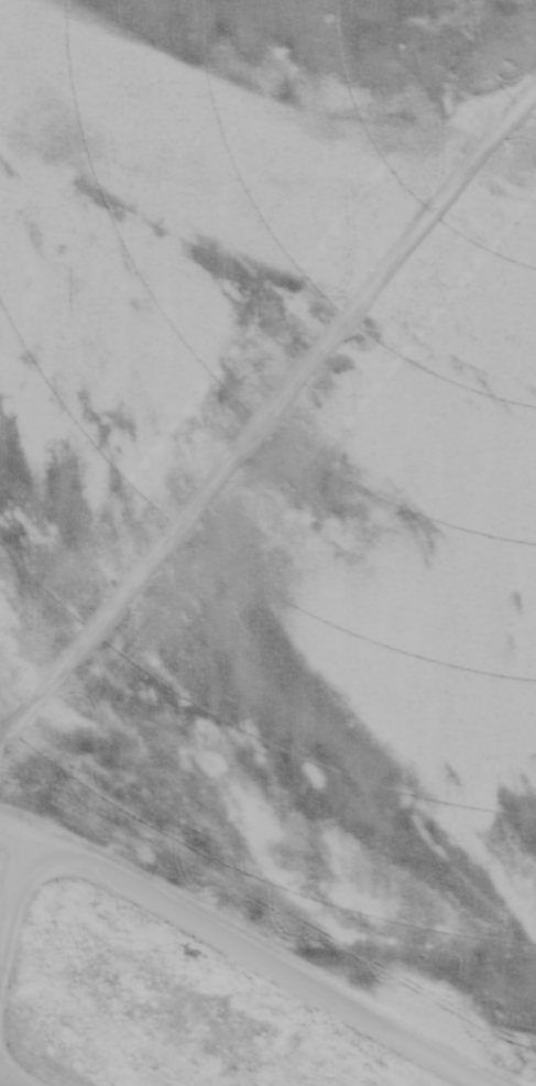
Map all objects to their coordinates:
road: (20, 838)
road: (10, 894)
road: (265, 960)
street lamp: (11, 987)
road: (8, 1083)

